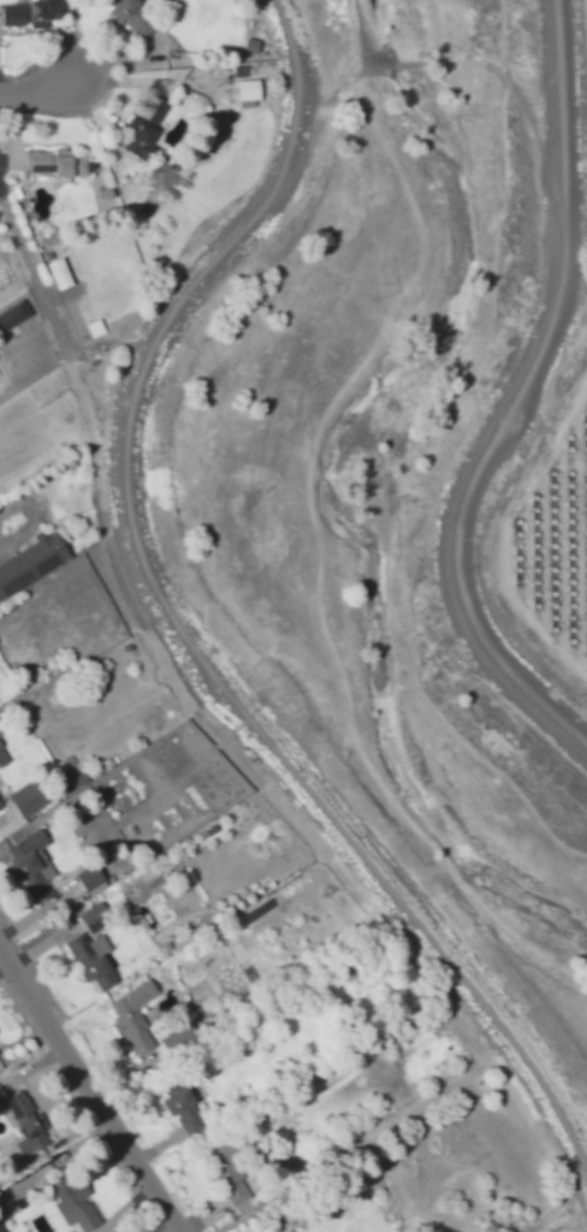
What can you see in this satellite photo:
building: (30, 12)
building: (135, 16)
building: (253, 45)
building: (242, 72)
road: (36, 93)
building: (249, 94)
building: (55, 162)
building: (60, 273)
road: (32, 277)
building: (13, 315)
road: (514, 398)
building: (32, 565)
road: (176, 620)
building: (2, 756)
building: (28, 798)
building: (2, 804)
building: (32, 865)
building: (93, 879)
building: (96, 917)
building: (93, 958)
building: (135, 1018)
building: (180, 1039)
building: (0, 1055)
road: (90, 1089)
building: (186, 1112)
building: (28, 1123)
building: (229, 1171)
building: (73, 1202)

